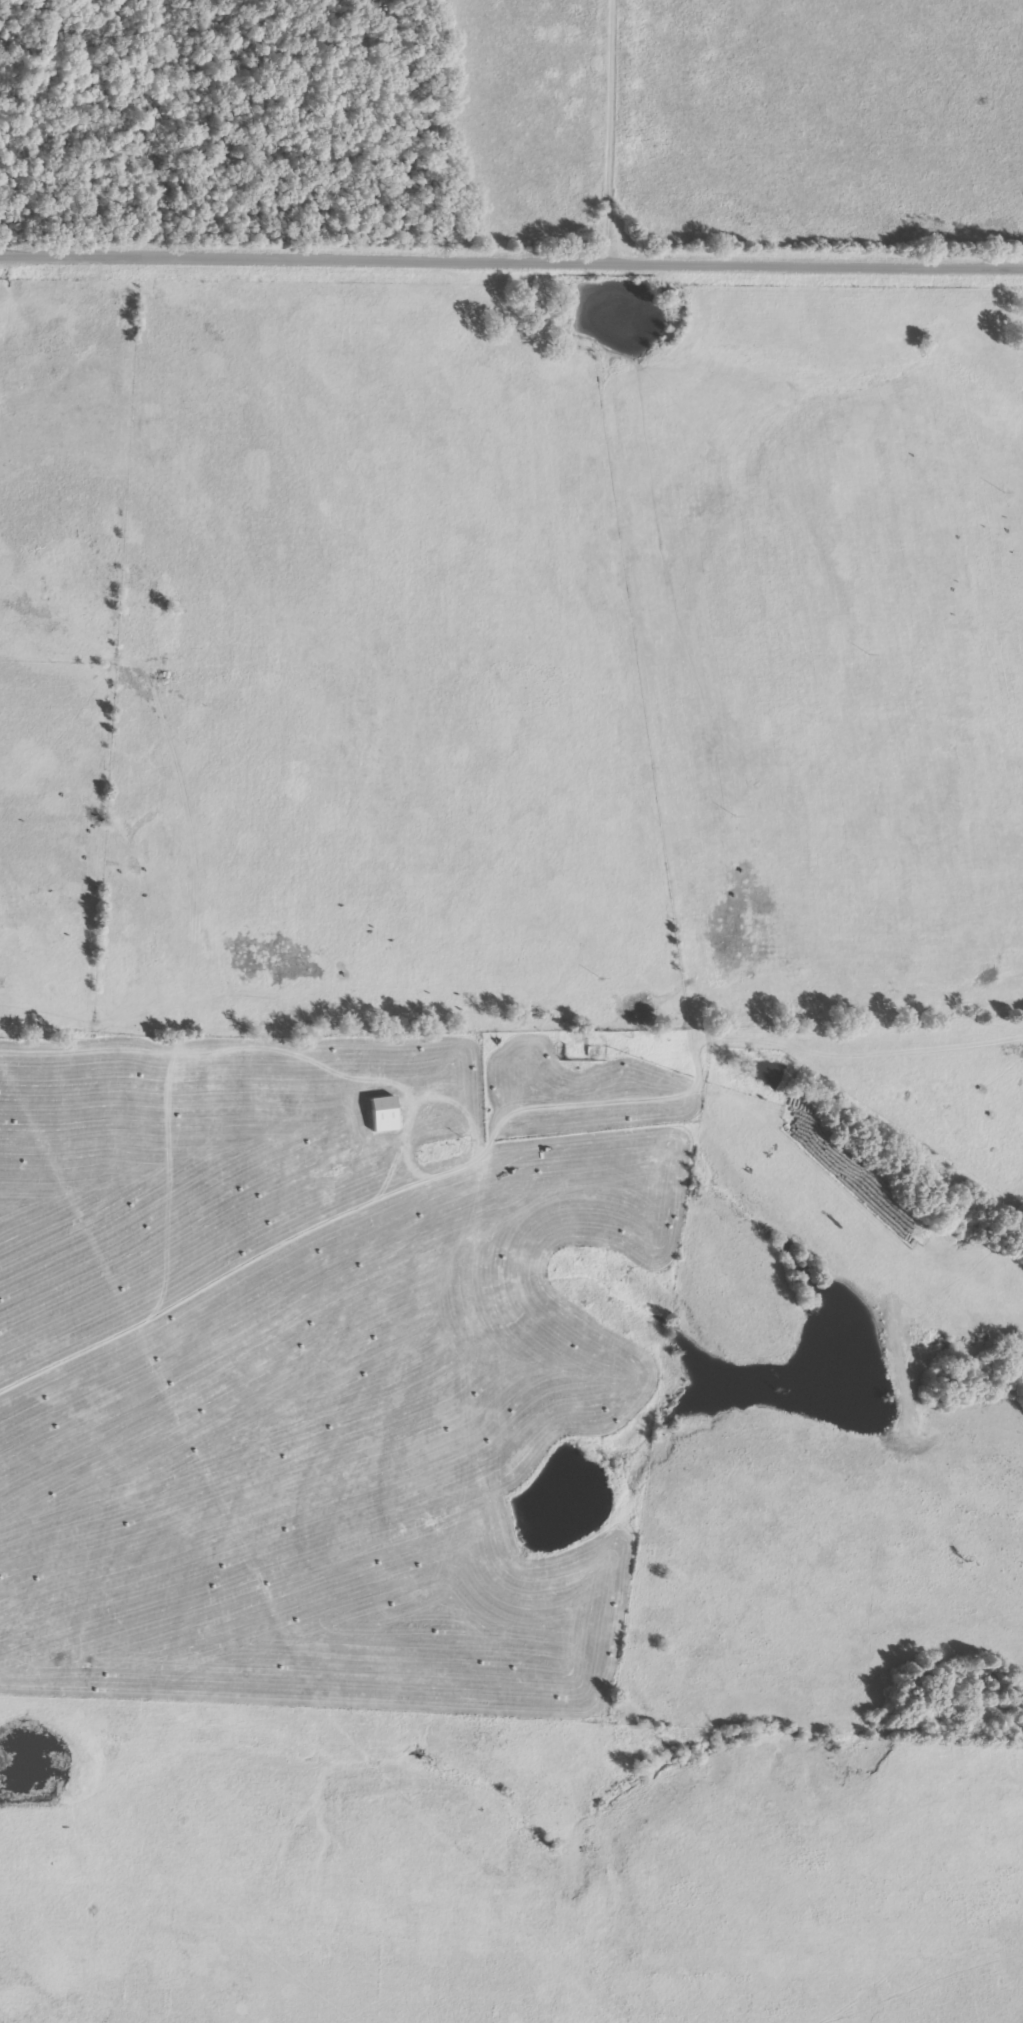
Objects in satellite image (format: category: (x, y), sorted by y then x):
road: (467, 120)
road: (597, 122)
road: (511, 244)
building: (384, 1115)

